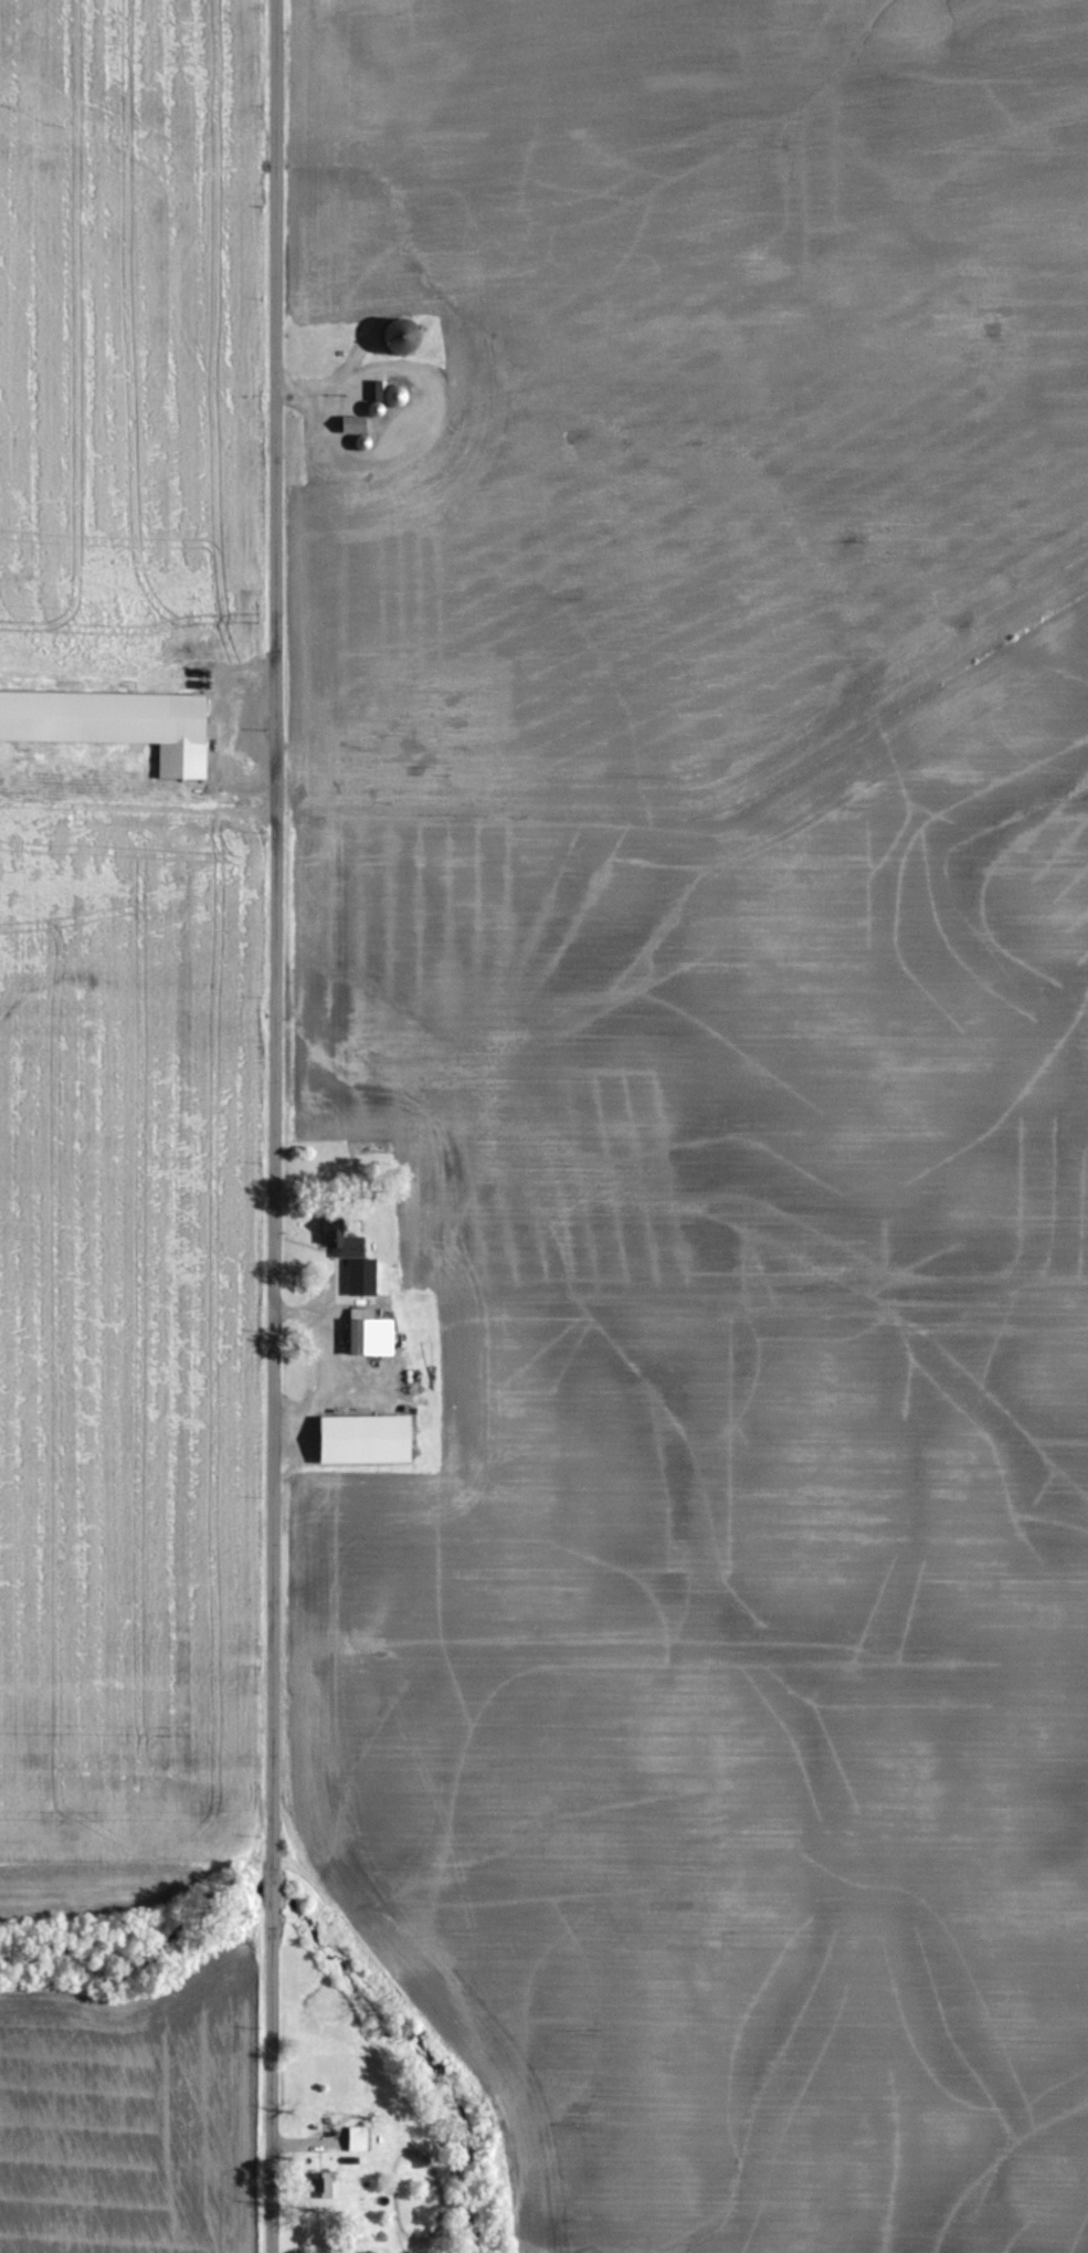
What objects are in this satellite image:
building: (116, 722)
road: (268, 1126)
building: (368, 1435)
building: (359, 2136)

